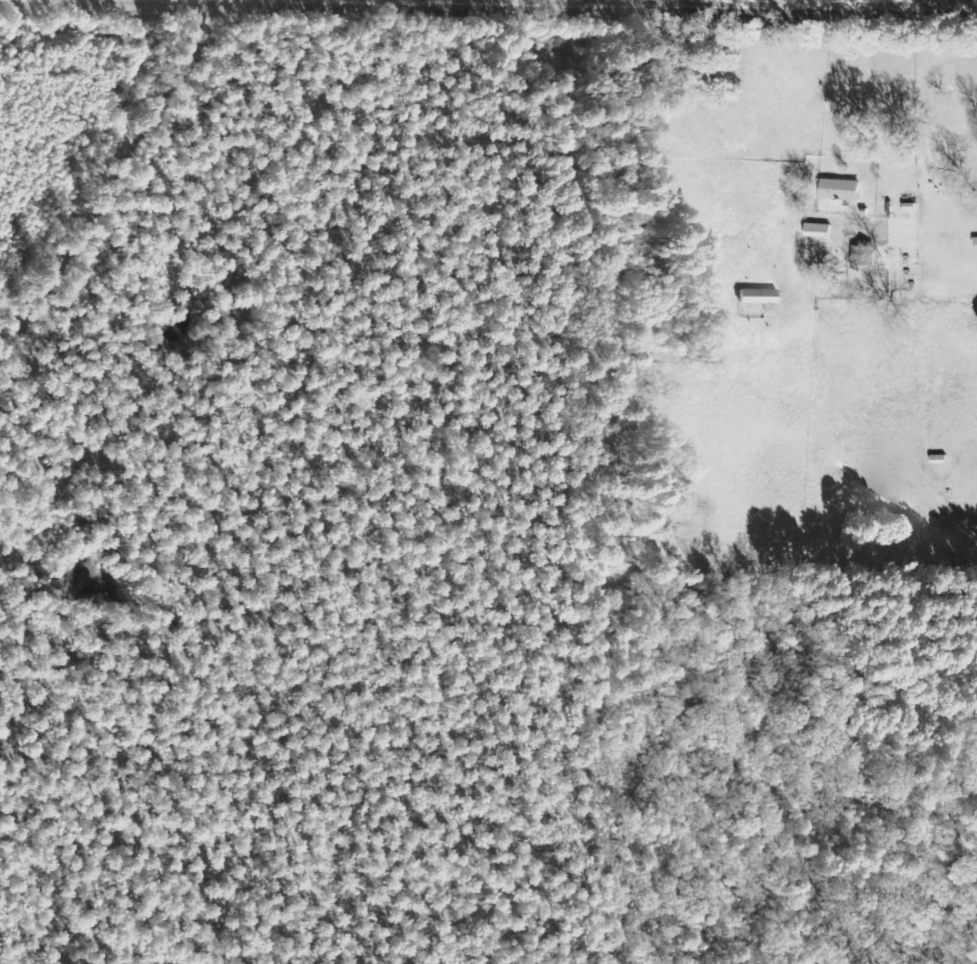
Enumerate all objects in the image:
road: (324, 8)
road: (488, 11)
road: (874, 88)
building: (842, 190)
road: (111, 192)
building: (819, 230)
building: (864, 256)
road: (108, 843)

